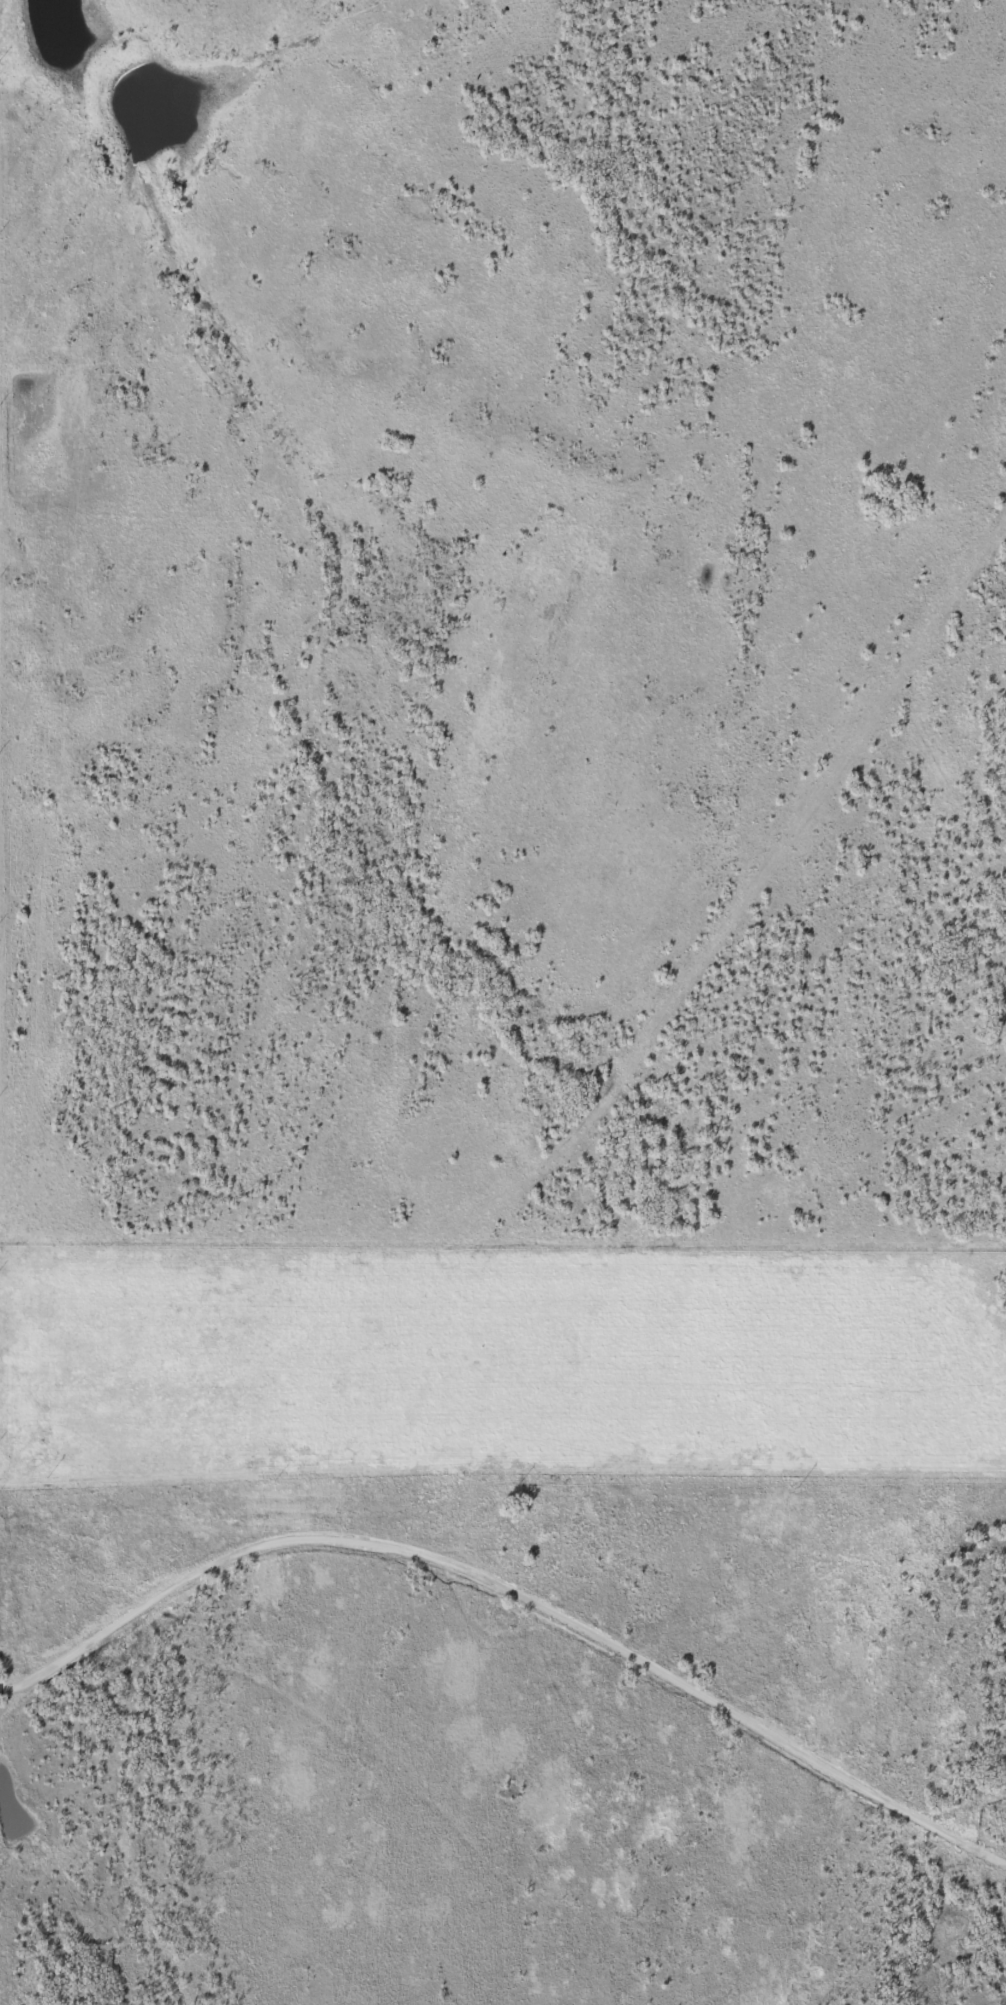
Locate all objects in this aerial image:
road: (512, 1641)

